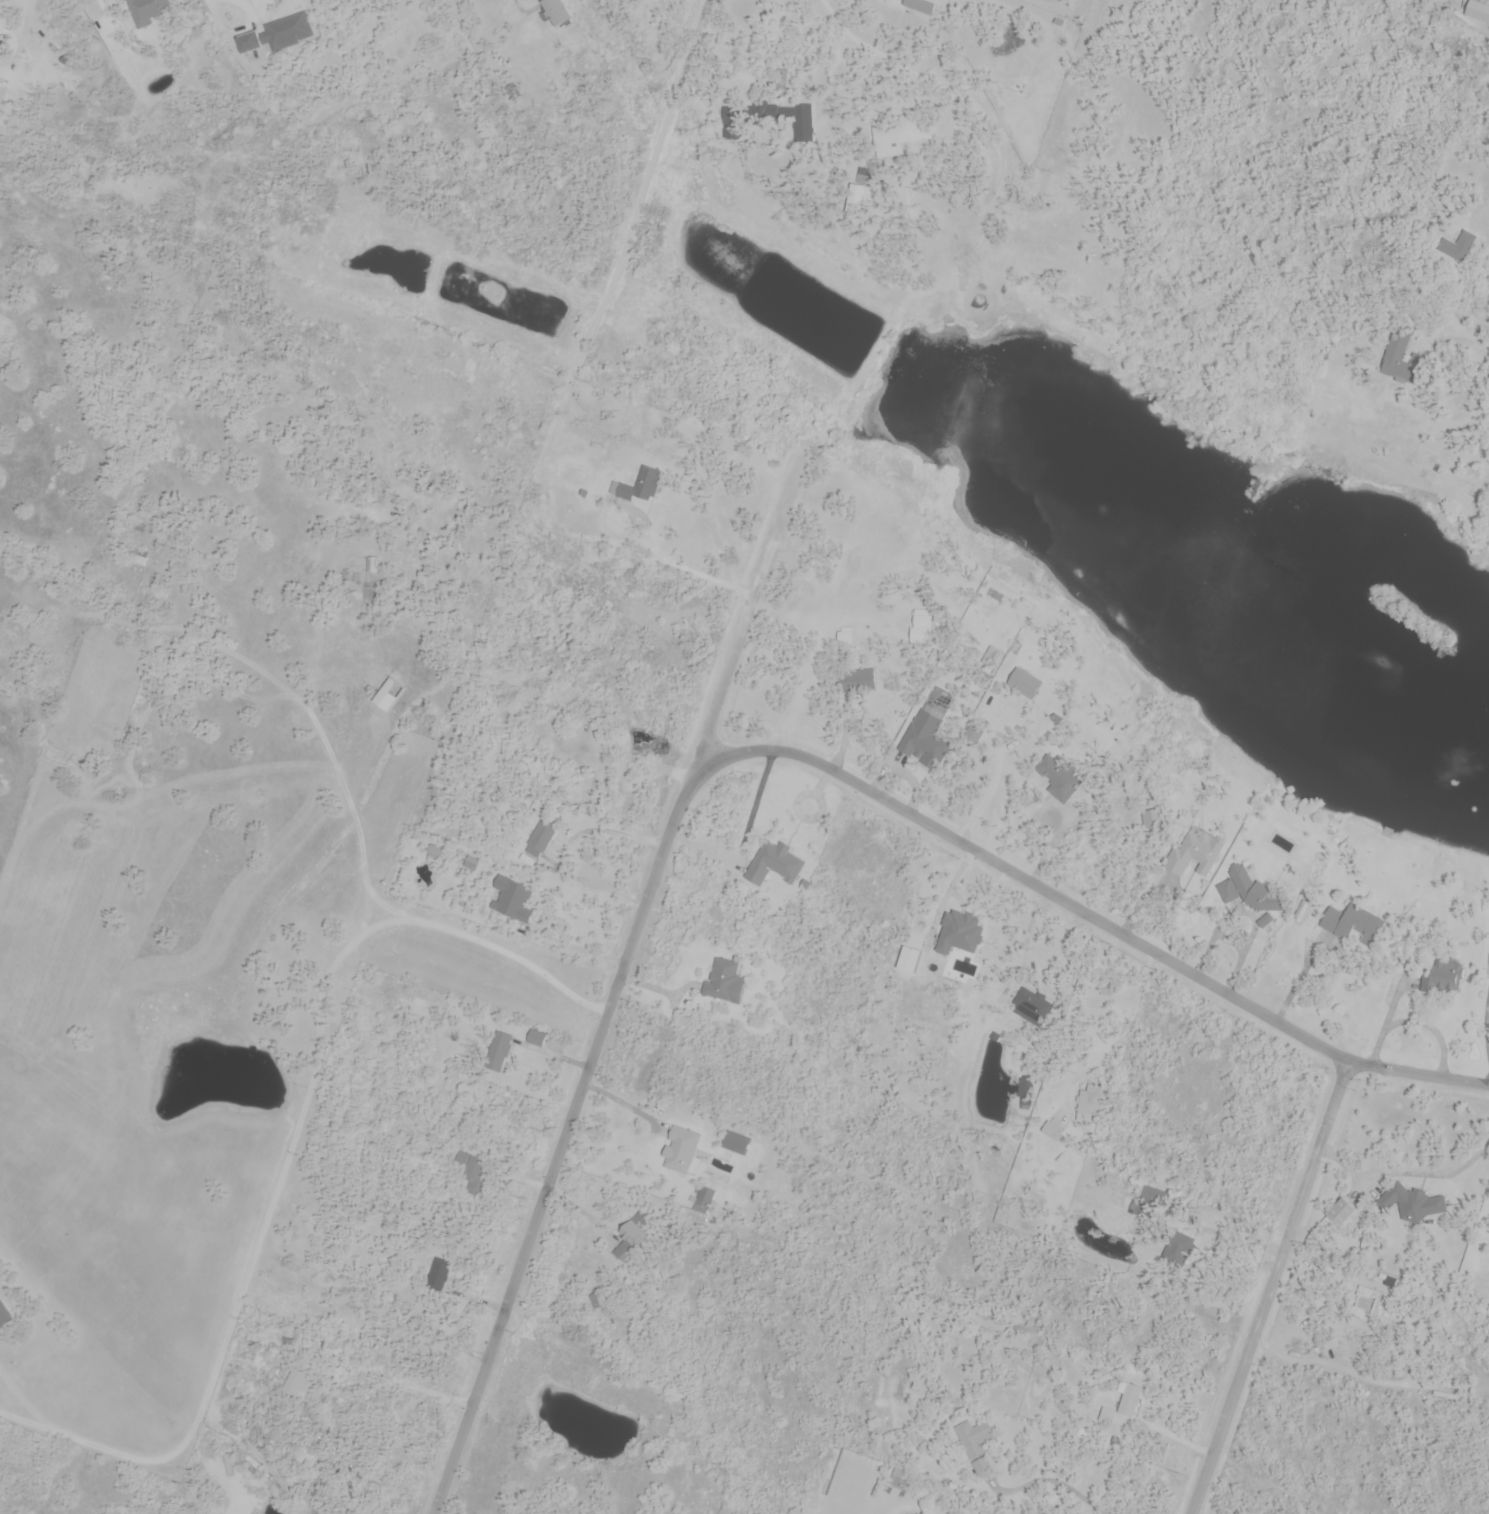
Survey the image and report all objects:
road: (230, 3)
building: (921, 6)
building: (148, 12)
building: (554, 12)
road: (710, 19)
building: (274, 37)
building: (914, 130)
building: (1452, 174)
building: (1458, 248)
building: (1397, 353)
building: (642, 488)
building: (138, 527)
building: (406, 563)
building: (856, 682)
building: (1023, 686)
building: (385, 696)
building: (925, 735)
road: (992, 779)
building: (1059, 780)
road: (563, 846)
building: (1193, 855)
building: (472, 864)
building: (775, 865)
building: (1235, 886)
building: (516, 901)
building: (1268, 901)
road: (403, 914)
road: (1092, 917)
building: (1344, 923)
road: (578, 948)
building: (1445, 978)
building: (723, 981)
road: (616, 991)
building: (1028, 1000)
road: (1486, 1024)
road: (1121, 1029)
building: (536, 1039)
building: (498, 1057)
building: (1087, 1103)
road: (623, 1105)
building: (1056, 1124)
road: (1407, 1169)
building: (472, 1171)
building: (1414, 1204)
building: (634, 1231)
building: (439, 1275)
road: (1271, 1287)
building: (599, 1301)
building: (1367, 1306)
building: (3, 1314)
building: (299, 1385)
building: (1121, 1409)
road: (1052, 1479)
road: (910, 1508)

